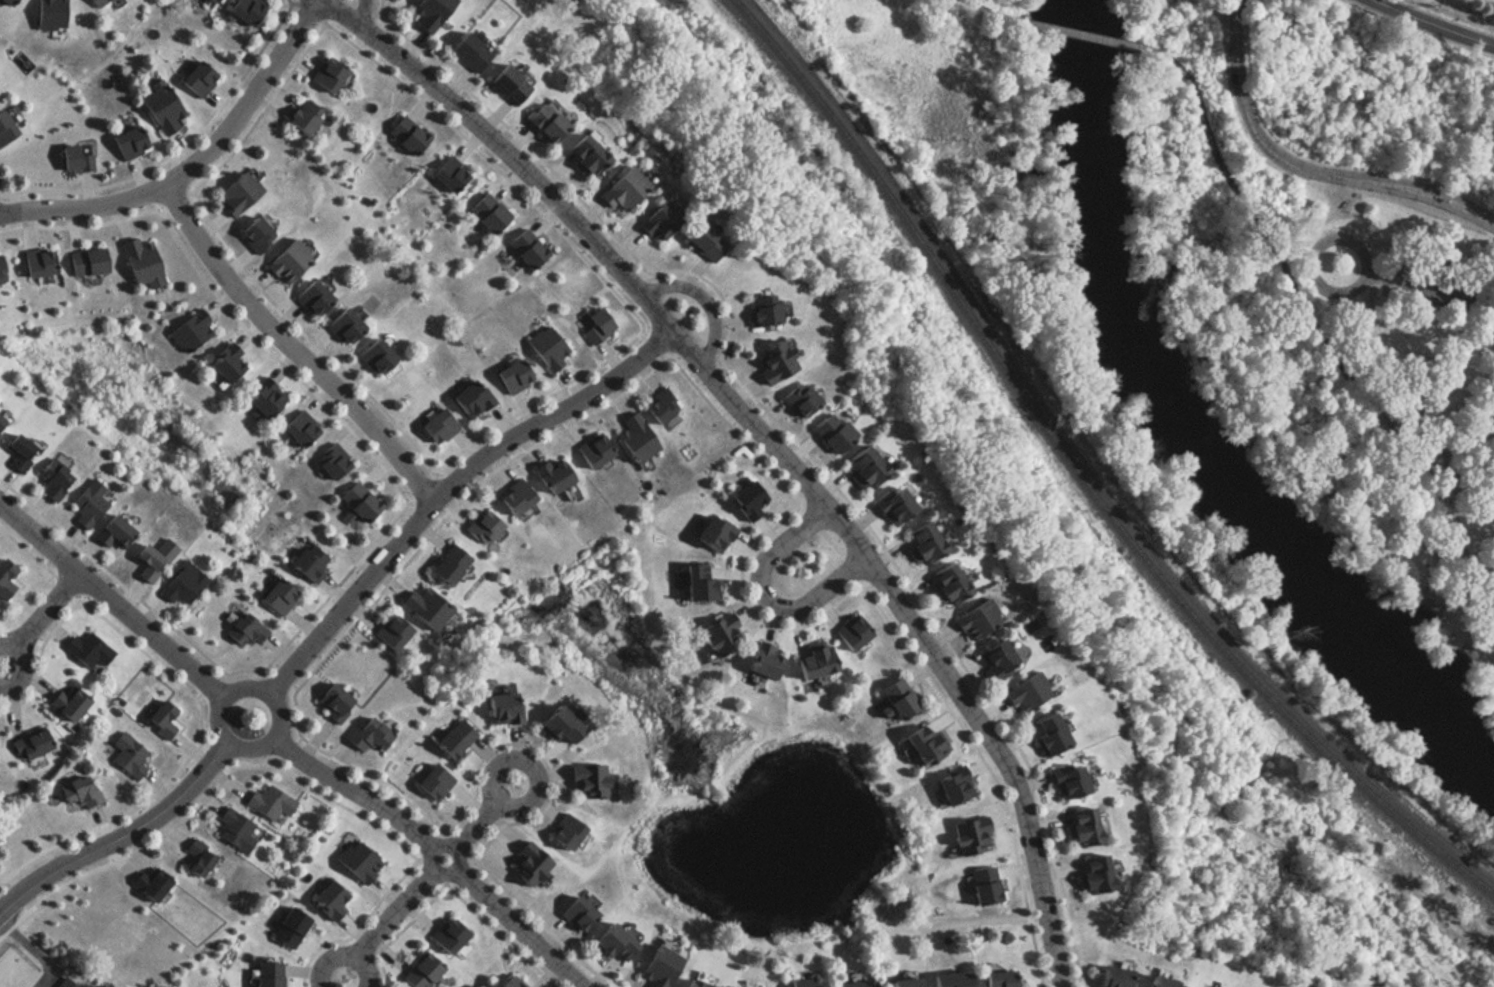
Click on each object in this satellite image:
building: (210, 1)
building: (94, 2)
road: (287, 2)
building: (5, 3)
building: (244, 10)
road: (309, 12)
road: (359, 12)
building: (427, 13)
road: (990, 13)
building: (47, 14)
road: (1432, 25)
road: (1080, 35)
building: (465, 52)
road: (1175, 66)
building: (325, 74)
building: (195, 78)
building: (505, 84)
building: (159, 109)
road: (261, 112)
building: (300, 115)
road: (1246, 117)
building: (541, 123)
building: (5, 129)
building: (404, 135)
building: (127, 141)
road: (181, 150)
building: (581, 155)
building: (74, 157)
road: (197, 164)
road: (491, 167)
building: (446, 174)
road: (1421, 186)
building: (619, 189)
toll booth: (1439, 191)
building: (235, 193)
toll booth: (1437, 197)
road: (171, 198)
road: (1419, 198)
toll booth: (1434, 203)
building: (484, 213)
building: (657, 220)
road: (79, 227)
building: (253, 234)
building: (701, 241)
park: (1242, 248)
building: (523, 249)
road: (1305, 257)
building: (36, 261)
building: (85, 261)
building: (139, 261)
building: (285, 262)
building: (2, 273)
road: (1433, 286)
parking lot: (1438, 286)
building: (309, 298)
road: (701, 302)
building: (760, 311)
building: (591, 324)
building: (341, 327)
building: (189, 332)
road: (303, 334)
road: (656, 341)
building: (544, 349)
road: (294, 350)
road: (1329, 353)
building: (372, 357)
road: (276, 360)
building: (774, 362)
building: (223, 366)
building: (510, 376)
building: (263, 399)
building: (468, 399)
building: (799, 401)
road: (534, 402)
building: (659, 407)
road: (1416, 407)
building: (1, 425)
building: (434, 426)
road: (731, 427)
building: (298, 430)
river: (1186, 430)
building: (831, 433)
road: (786, 434)
building: (633, 439)
road: (766, 442)
building: (590, 451)
building: (16, 452)
building: (331, 462)
building: (865, 466)
railway: (1082, 476)
building: (548, 477)
building: (50, 479)
road: (450, 489)
road: (424, 492)
building: (511, 498)
building: (358, 501)
road: (458, 501)
building: (747, 501)
building: (87, 503)
building: (894, 505)
road: (814, 515)
building: (478, 527)
building: (111, 532)
building: (714, 533)
road: (835, 544)
building: (923, 544)
building: (306, 562)
building: (146, 563)
building: (444, 566)
road: (858, 570)
road: (51, 576)
road: (110, 576)
building: (8, 582)
building: (697, 582)
building: (182, 584)
building: (949, 584)
road: (337, 585)
road: (67, 587)
building: (277, 597)
road: (764, 603)
road: (110, 605)
road: (747, 607)
building: (422, 608)
road: (47, 613)
building: (978, 620)
building: (246, 630)
building: (387, 632)
building: (851, 632)
building: (717, 636)
building: (86, 650)
road: (39, 656)
building: (997, 660)
building: (760, 662)
building: (812, 662)
road: (24, 666)
road: (248, 671)
road: (218, 673)
road: (281, 678)
road: (208, 685)
road: (251, 686)
building: (1026, 693)
road: (198, 696)
building: (897, 698)
building: (69, 703)
building: (330, 703)
building: (499, 709)
road: (296, 713)
building: (160, 720)
building: (555, 726)
building: (364, 734)
building: (1048, 735)
building: (451, 739)
building: (30, 743)
building: (920, 745)
road: (287, 752)
road: (537, 753)
road: (216, 756)
building: (126, 757)
road: (183, 764)
road: (277, 764)
road: (986, 770)
road: (369, 780)
building: (1065, 781)
building: (584, 782)
building: (431, 783)
building: (950, 786)
building: (78, 792)
road: (353, 793)
road: (207, 797)
building: (267, 803)
road: (504, 810)
road: (473, 826)
building: (1077, 828)
building: (235, 831)
park: (22, 832)
building: (563, 835)
road: (119, 836)
building: (967, 836)
road: (445, 845)
road: (454, 846)
building: (201, 860)
building: (356, 863)
building: (524, 864)
road: (429, 873)
building: (1088, 876)
building: (150, 884)
building: (981, 886)
building: (329, 901)
building: (574, 915)
road: (395, 916)
road: (535, 923)
building: (295, 928)
road: (357, 928)
road: (520, 929)
road: (398, 931)
building: (444, 935)
road: (497, 937)
park: (93, 942)
building: (609, 944)
road: (342, 956)
building: (655, 968)
park: (13, 970)
building: (419, 971)
building: (268, 975)
building: (1111, 978)
building: (949, 980)
building: (996, 980)
building: (507, 982)
building: (1155, 982)
building: (802, 983)
building: (902, 983)
building: (63, 984)
building: (692, 984)
building: (854, 984)
building: (1190, 986)

